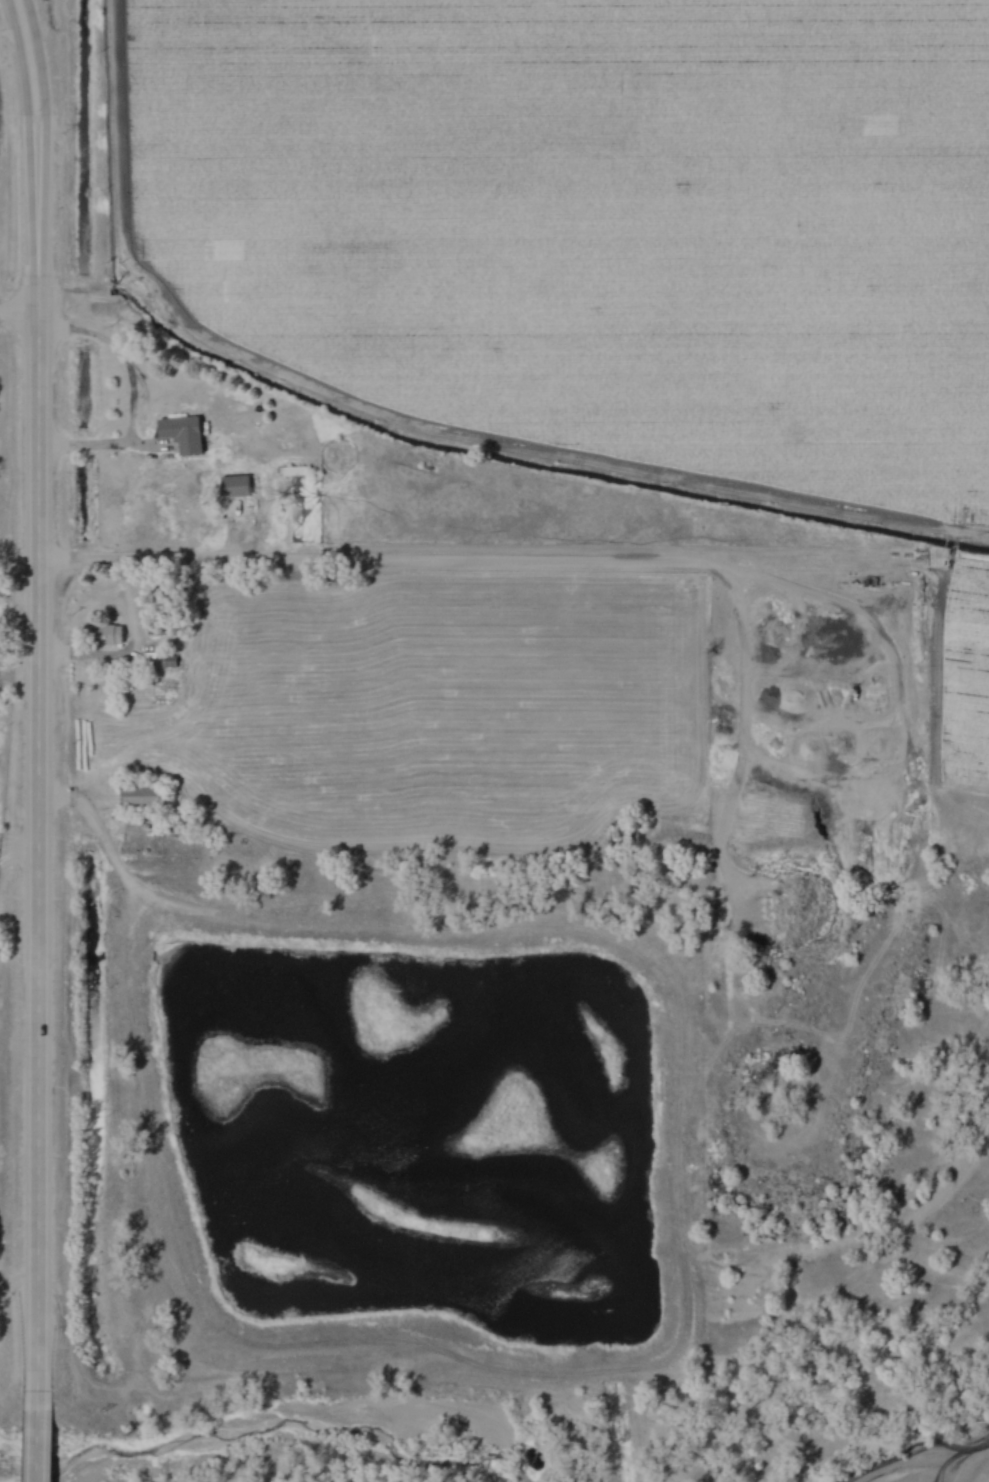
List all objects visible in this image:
road: (22, 75)
road: (40, 75)
road: (19, 312)
building: (182, 434)
building: (289, 472)
building: (235, 487)
road: (543, 567)
building: (104, 635)
road: (36, 769)
building: (143, 795)
road: (36, 1435)

